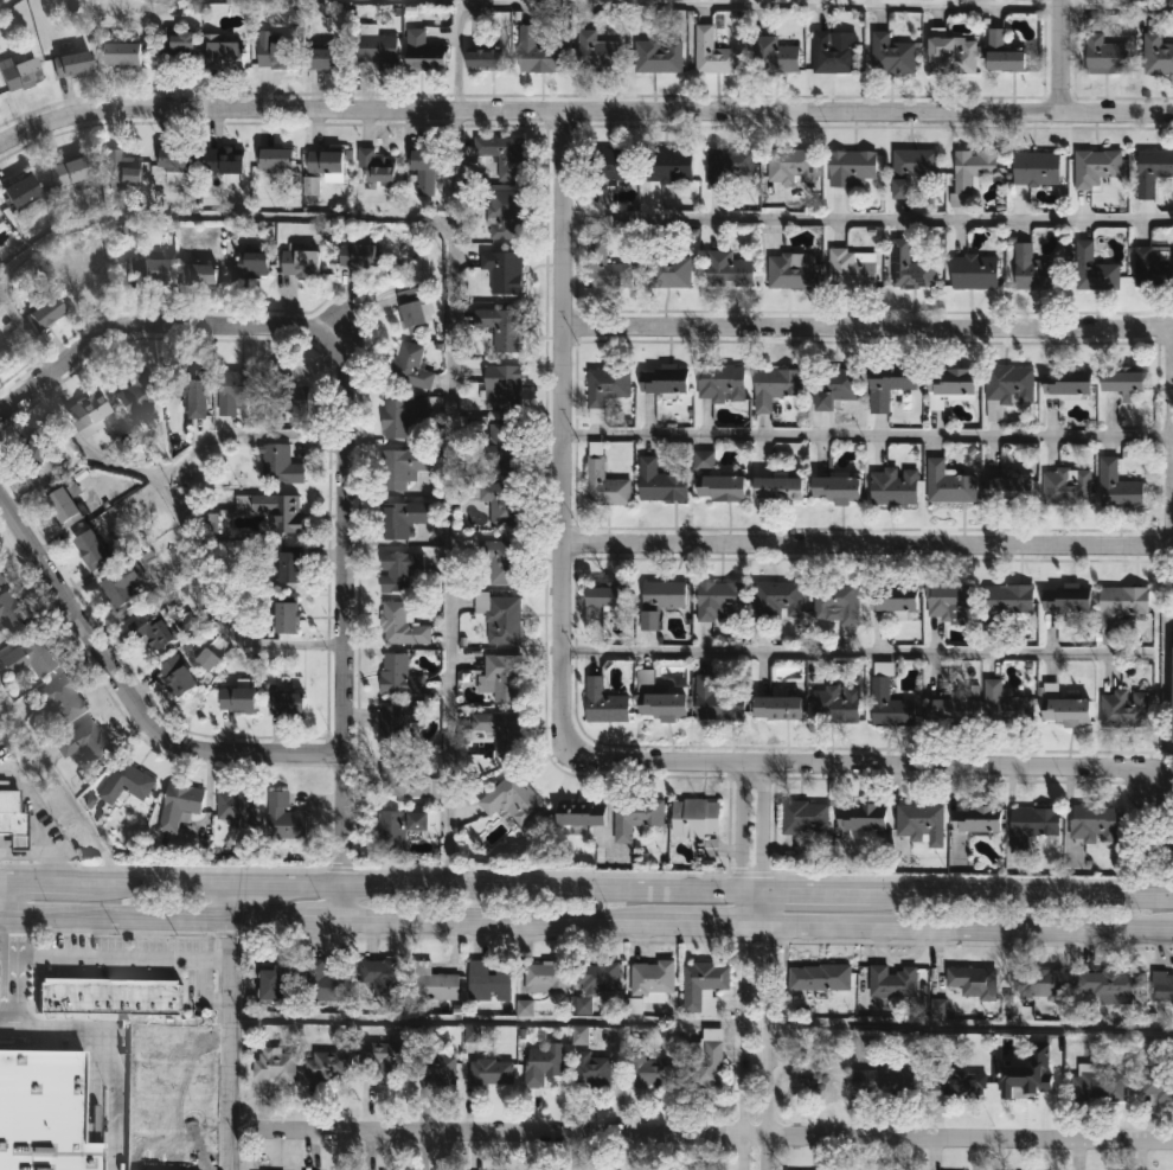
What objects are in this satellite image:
building: (1115, 0)
road: (707, 4)
building: (177, 46)
building: (377, 49)
building: (422, 51)
building: (537, 51)
building: (220, 52)
building: (597, 52)
building: (713, 52)
building: (275, 53)
building: (121, 55)
building: (658, 55)
building: (832, 55)
building: (891, 55)
road: (1057, 55)
building: (1104, 55)
building: (1156, 55)
building: (775, 56)
building: (951, 56)
building: (323, 57)
building: (483, 58)
building: (1005, 60)
building: (71, 63)
building: (19, 75)
road: (581, 116)
building: (504, 155)
building: (275, 159)
building: (173, 161)
building: (224, 161)
building: (325, 164)
building: (614, 165)
building: (376, 166)
building: (669, 166)
building: (729, 166)
building: (793, 166)
building: (851, 166)
building: (425, 167)
building: (1095, 167)
building: (970, 168)
building: (1036, 168)
building: (910, 170)
building: (122, 171)
building: (1152, 171)
building: (68, 172)
building: (310, 186)
building: (18, 192)
building: (505, 215)
road: (866, 216)
building: (355, 255)
building: (300, 264)
building: (251, 266)
building: (1154, 266)
building: (909, 268)
building: (852, 269)
building: (1094, 269)
building: (145, 270)
building: (610, 270)
building: (729, 270)
building: (791, 270)
building: (1033, 270)
building: (504, 271)
building: (671, 271)
building: (974, 271)
building: (198, 274)
building: (89, 279)
building: (411, 307)
building: (43, 313)
road: (448, 324)
road: (864, 325)
building: (502, 327)
road: (25, 330)
building: (411, 365)
building: (662, 378)
building: (720, 382)
building: (1066, 382)
building: (1121, 382)
building: (188, 383)
building: (1009, 384)
building: (887, 385)
building: (949, 385)
building: (502, 386)
building: (605, 386)
building: (774, 386)
building: (239, 388)
building: (833, 388)
building: (287, 390)
building: (136, 391)
building: (86, 415)
building: (400, 415)
road: (863, 433)
road: (345, 445)
building: (500, 446)
road: (82, 449)
building: (38, 454)
building: (280, 465)
building: (403, 467)
building: (604, 482)
building: (659, 482)
building: (948, 484)
building: (893, 486)
building: (1066, 487)
building: (1117, 487)
building: (720, 488)
building: (776, 488)
building: (834, 490)
building: (1009, 490)
building: (500, 501)
building: (63, 506)
building: (275, 510)
road: (175, 514)
building: (400, 519)
road: (970, 544)
building: (90, 549)
building: (500, 562)
building: (289, 569)
building: (398, 571)
building: (0, 584)
building: (122, 587)
building: (607, 595)
building: (891, 597)
building: (1065, 599)
building: (659, 600)
building: (778, 600)
building: (950, 600)
building: (719, 601)
building: (838, 601)
building: (1008, 601)
building: (1121, 603)
building: (11, 613)
building: (286, 618)
building: (504, 619)
building: (402, 625)
building: (152, 637)
road: (853, 653)
building: (28, 659)
building: (174, 673)
building: (399, 674)
building: (504, 678)
road: (126, 696)
building: (237, 698)
building: (60, 701)
building: (287, 701)
building: (658, 701)
building: (718, 701)
building: (604, 703)
building: (834, 705)
building: (889, 705)
building: (1005, 705)
building: (776, 708)
building: (1124, 709)
building: (950, 711)
building: (1064, 712)
building: (397, 722)
road: (565, 729)
building: (500, 731)
building: (1172, 739)
building: (85, 742)
building: (402, 779)
building: (126, 782)
building: (512, 798)
building: (178, 805)
building: (236, 806)
building: (578, 813)
building: (636, 814)
building: (860, 816)
building: (284, 817)
road: (32, 818)
building: (696, 818)
building: (975, 818)
building: (805, 819)
building: (12, 821)
building: (1092, 823)
building: (921, 824)
building: (1031, 825)
building: (397, 827)
road: (24, 858)
road: (1149, 861)
road: (585, 889)
road: (8, 899)
road: (152, 916)
road: (325, 916)
road: (501, 919)
road: (699, 923)
road: (751, 925)
road: (968, 926)
road: (117, 959)
road: (739, 965)
road: (764, 965)
building: (383, 972)
road: (5, 973)
building: (820, 974)
building: (545, 976)
building: (650, 977)
building: (598, 978)
building: (489, 979)
building: (892, 979)
building: (970, 979)
building: (434, 982)
building: (275, 983)
building: (325, 983)
building: (1037, 983)
building: (1110, 984)
building: (1161, 984)
building: (703, 985)
road: (201, 993)
building: (109, 998)
road: (485, 1021)
road: (229, 1027)
road: (969, 1027)
road: (101, 1051)
building: (382, 1059)
building: (707, 1059)
building: (275, 1063)
building: (544, 1063)
building: (327, 1064)
building: (436, 1067)
building: (591, 1067)
building: (650, 1069)
building: (491, 1070)
building: (955, 1079)
building: (812, 1080)
building: (885, 1080)
building: (1030, 1082)
building: (1100, 1085)
building: (1158, 1086)
building: (43, 1112)
road: (698, 1132)

